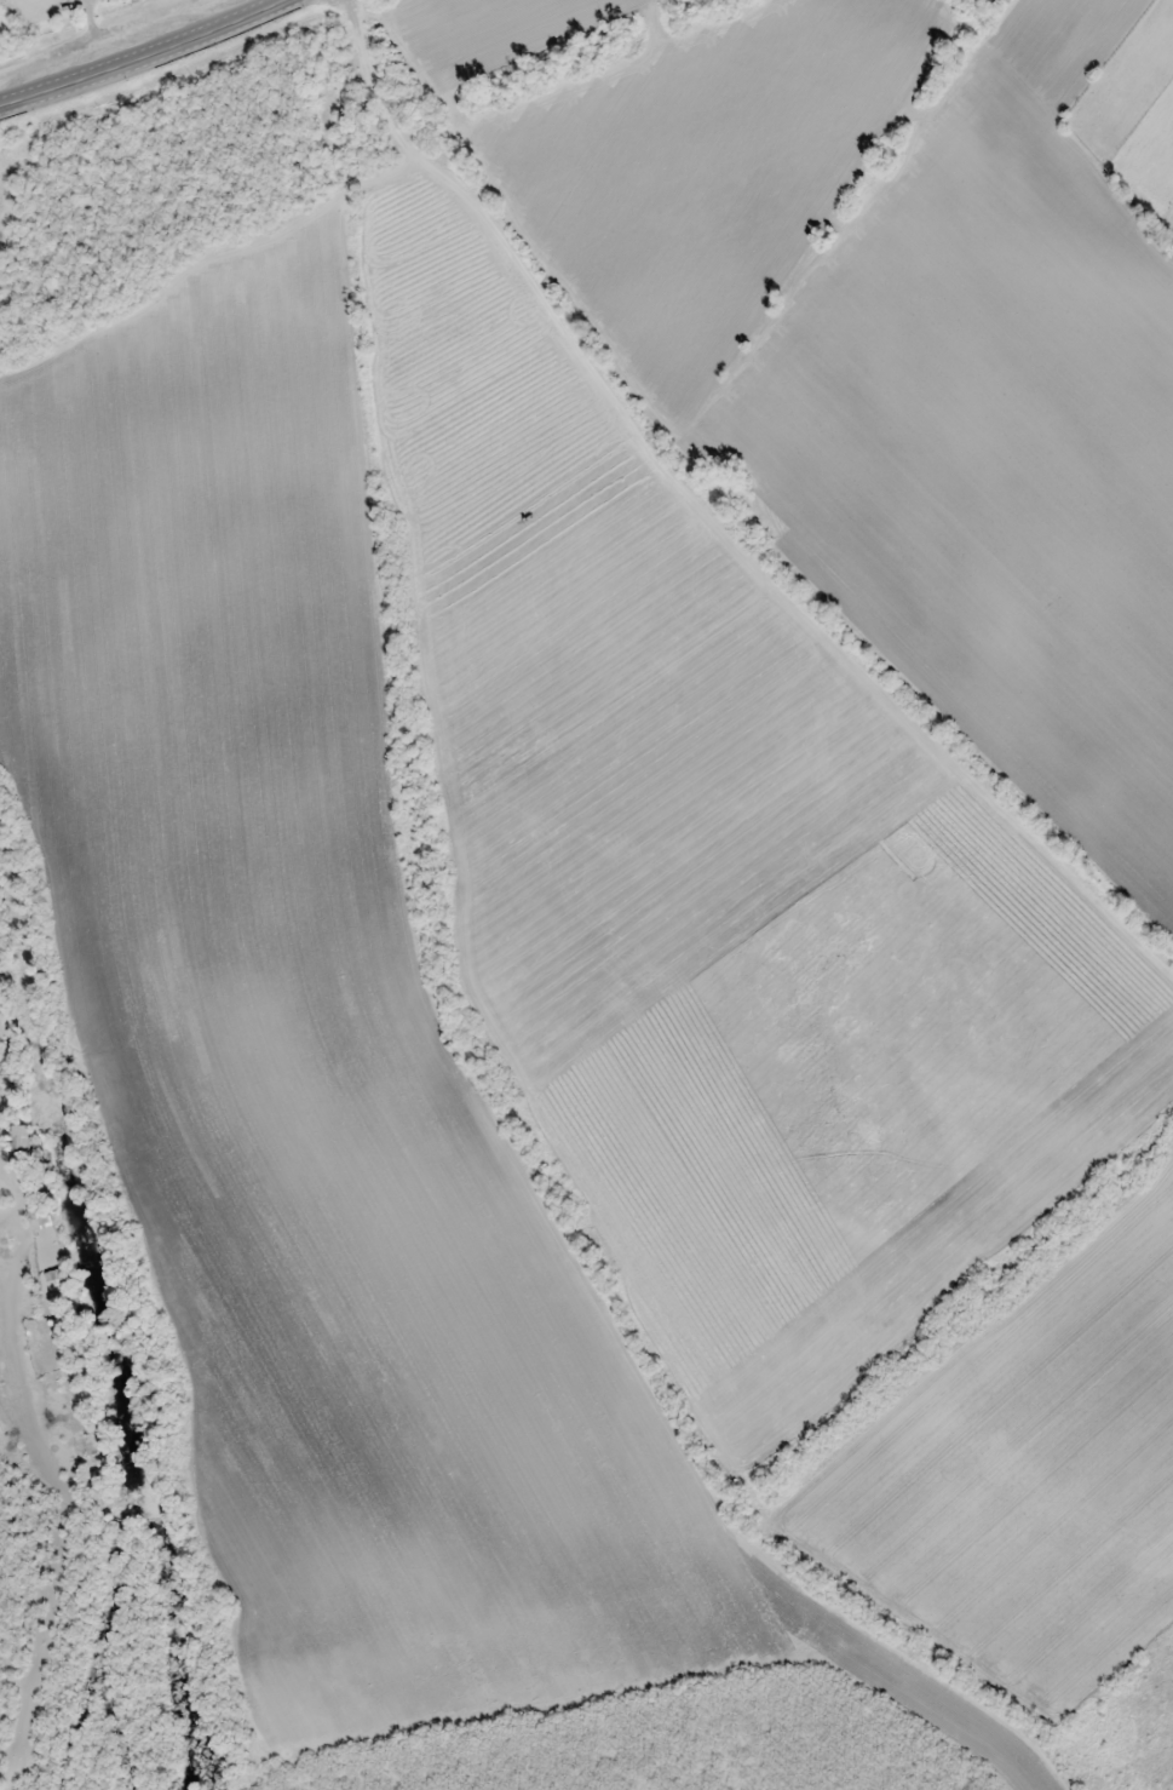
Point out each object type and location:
road: (134, 54)

